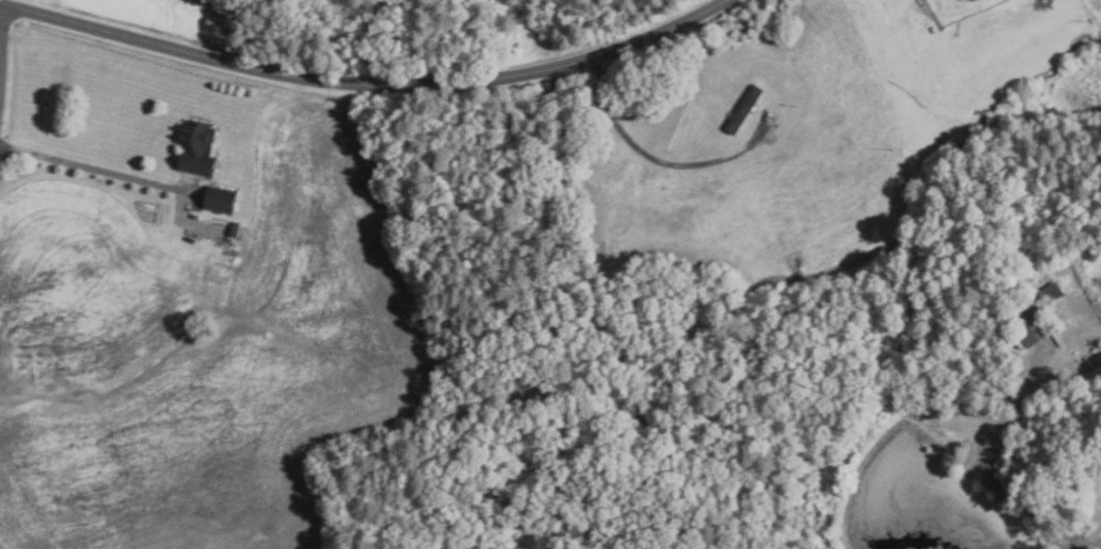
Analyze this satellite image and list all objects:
road: (1, 23)
road: (361, 83)
building: (192, 147)
road: (92, 168)
building: (1047, 292)
building: (1025, 321)
road: (1004, 495)

